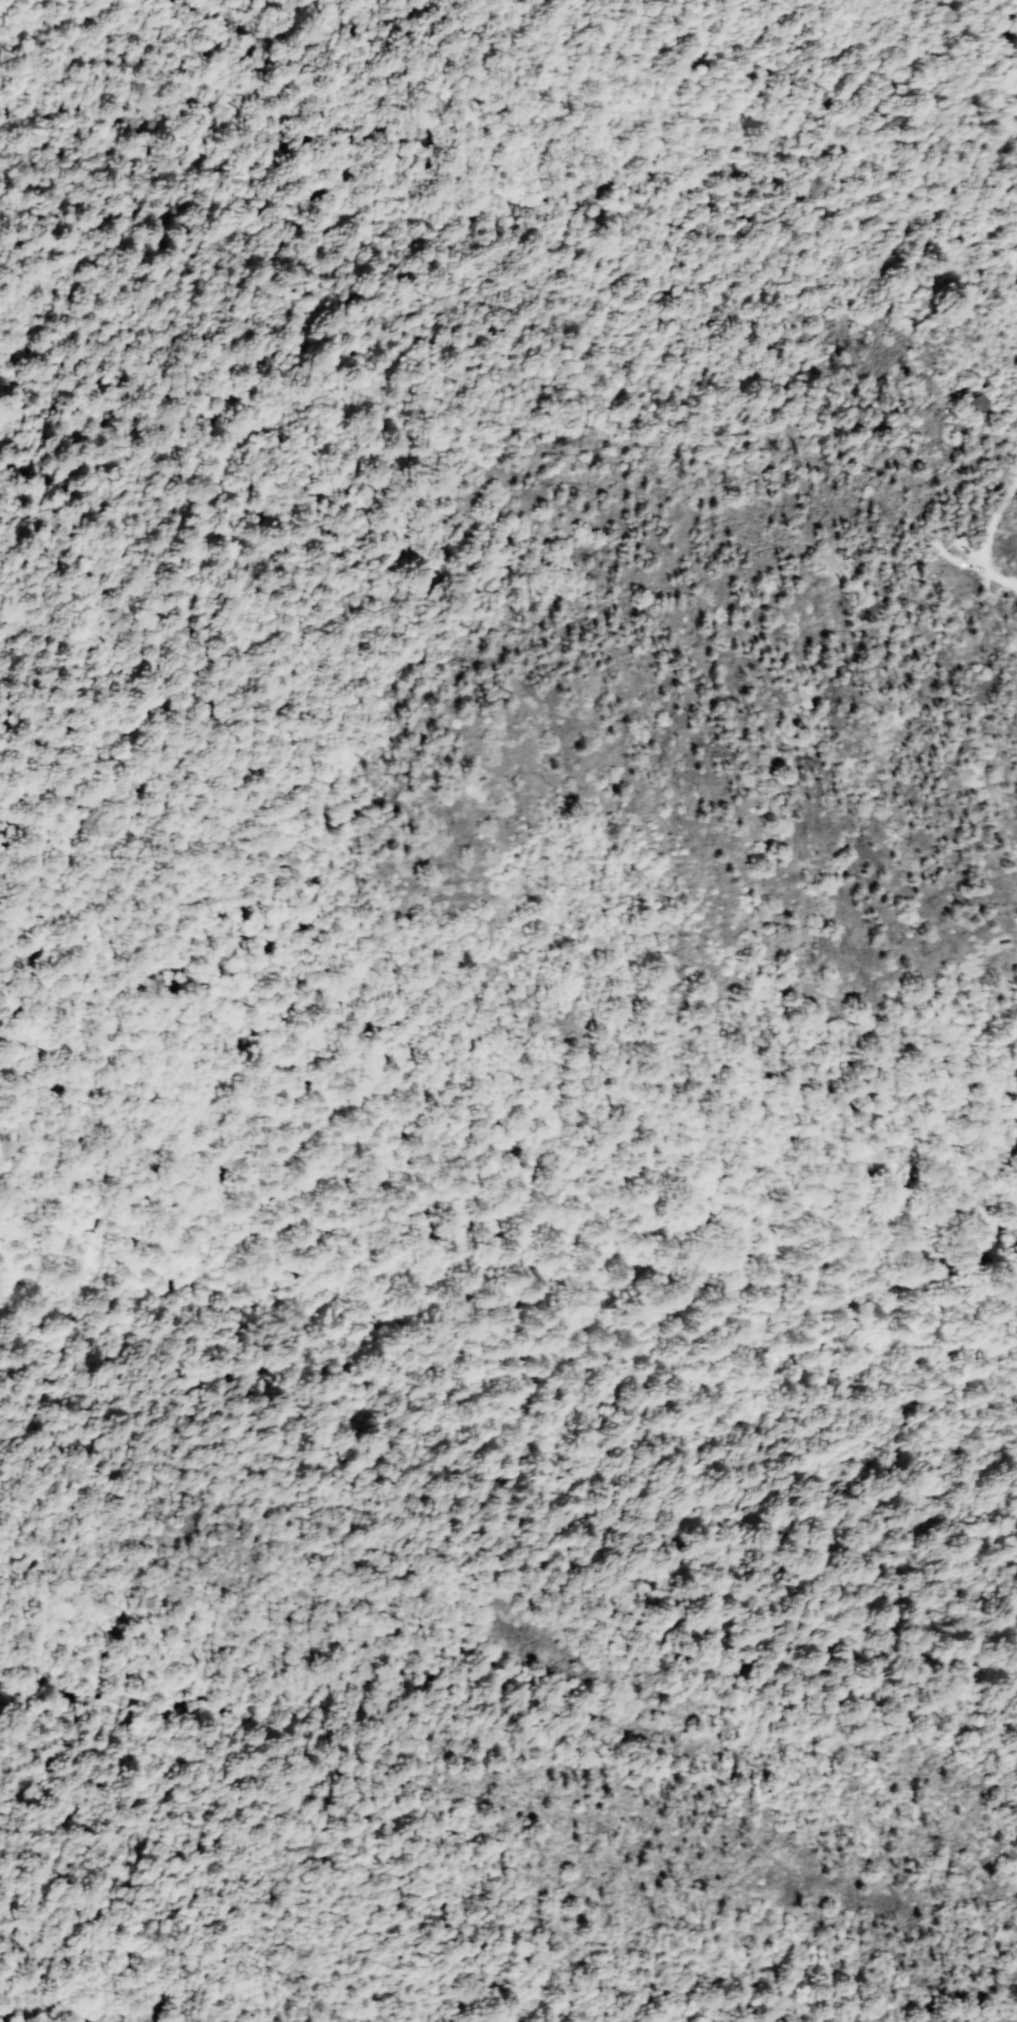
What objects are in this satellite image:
building: (981, 406)
road: (989, 524)
road: (913, 534)
building: (850, 566)
building: (918, 571)
road: (892, 1621)

